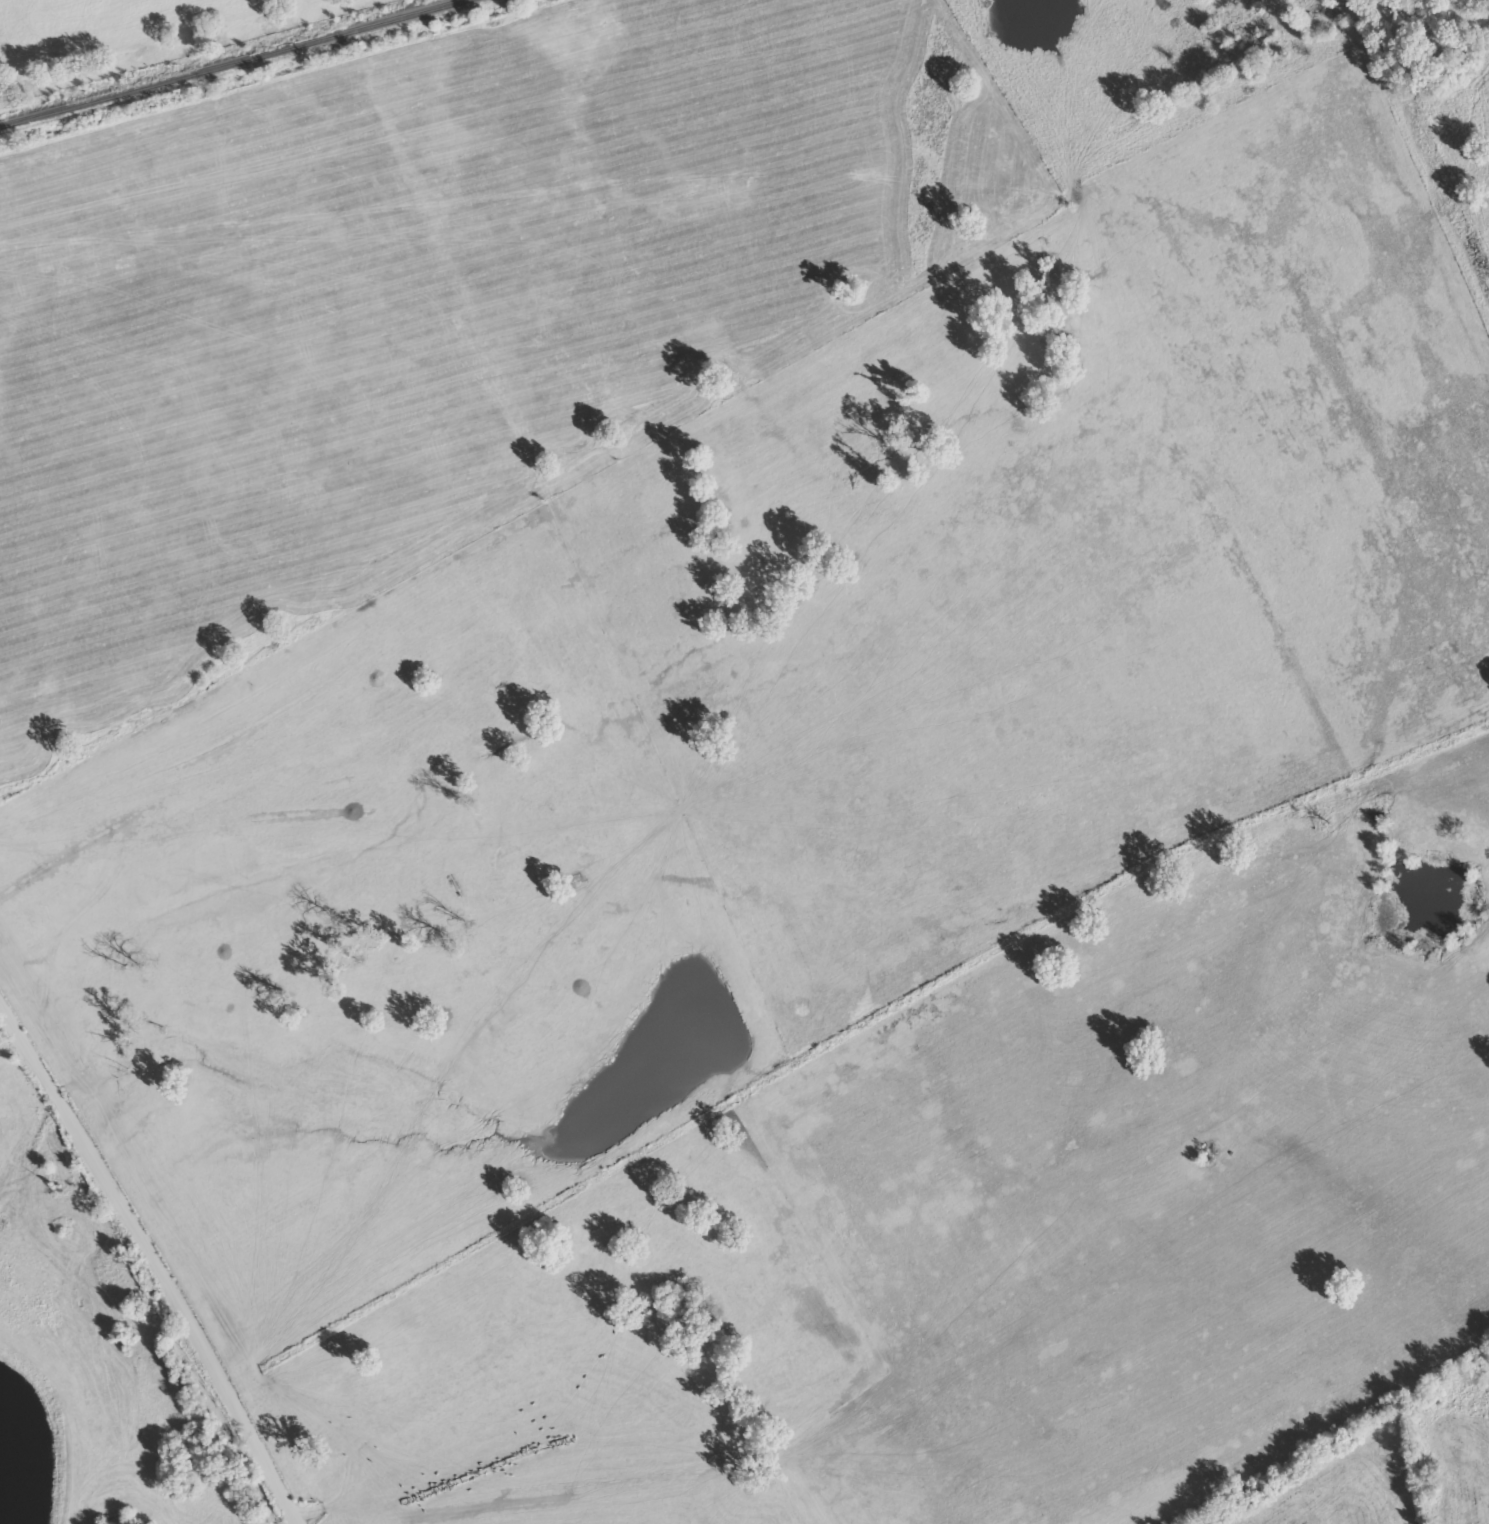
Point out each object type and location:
railway: (231, 62)
road: (159, 1253)

